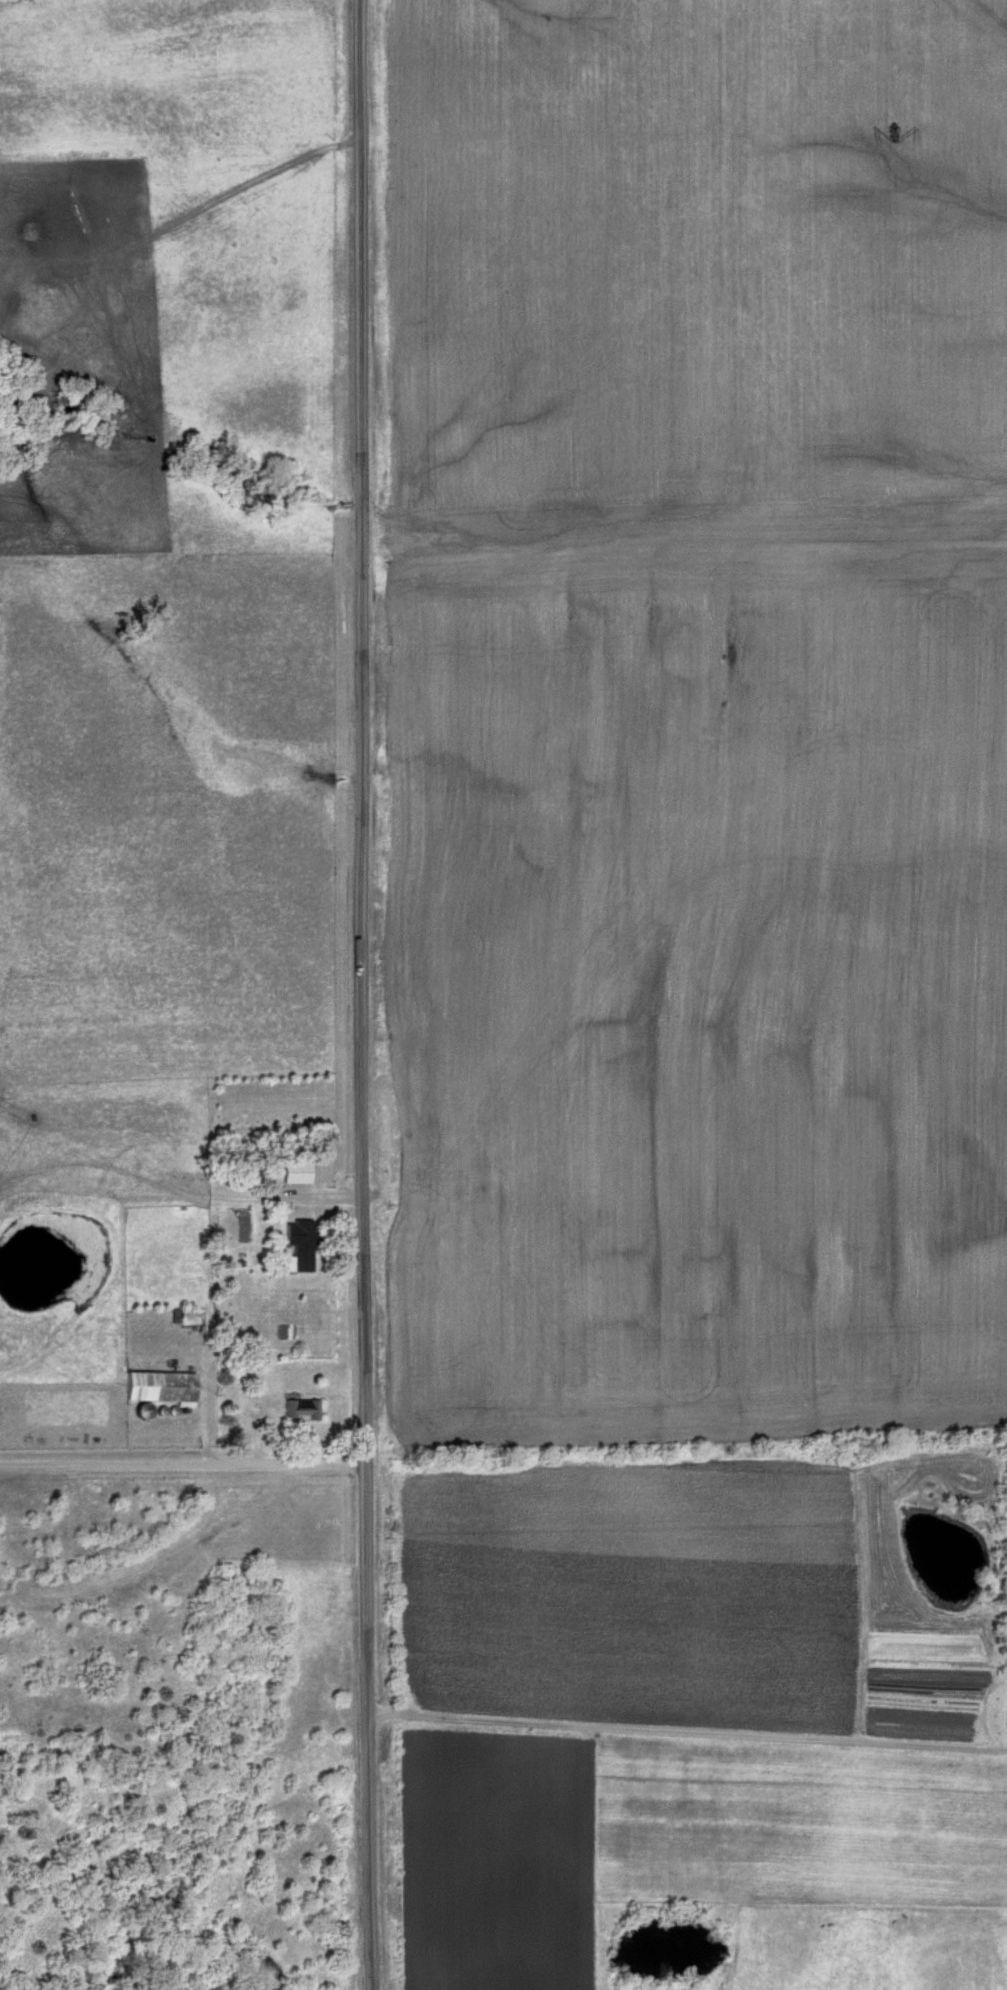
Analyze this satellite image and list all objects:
road: (362, 995)
building: (306, 1238)
road: (228, 1329)
building: (159, 1387)
building: (298, 1410)
road: (182, 1470)
road: (687, 1738)

